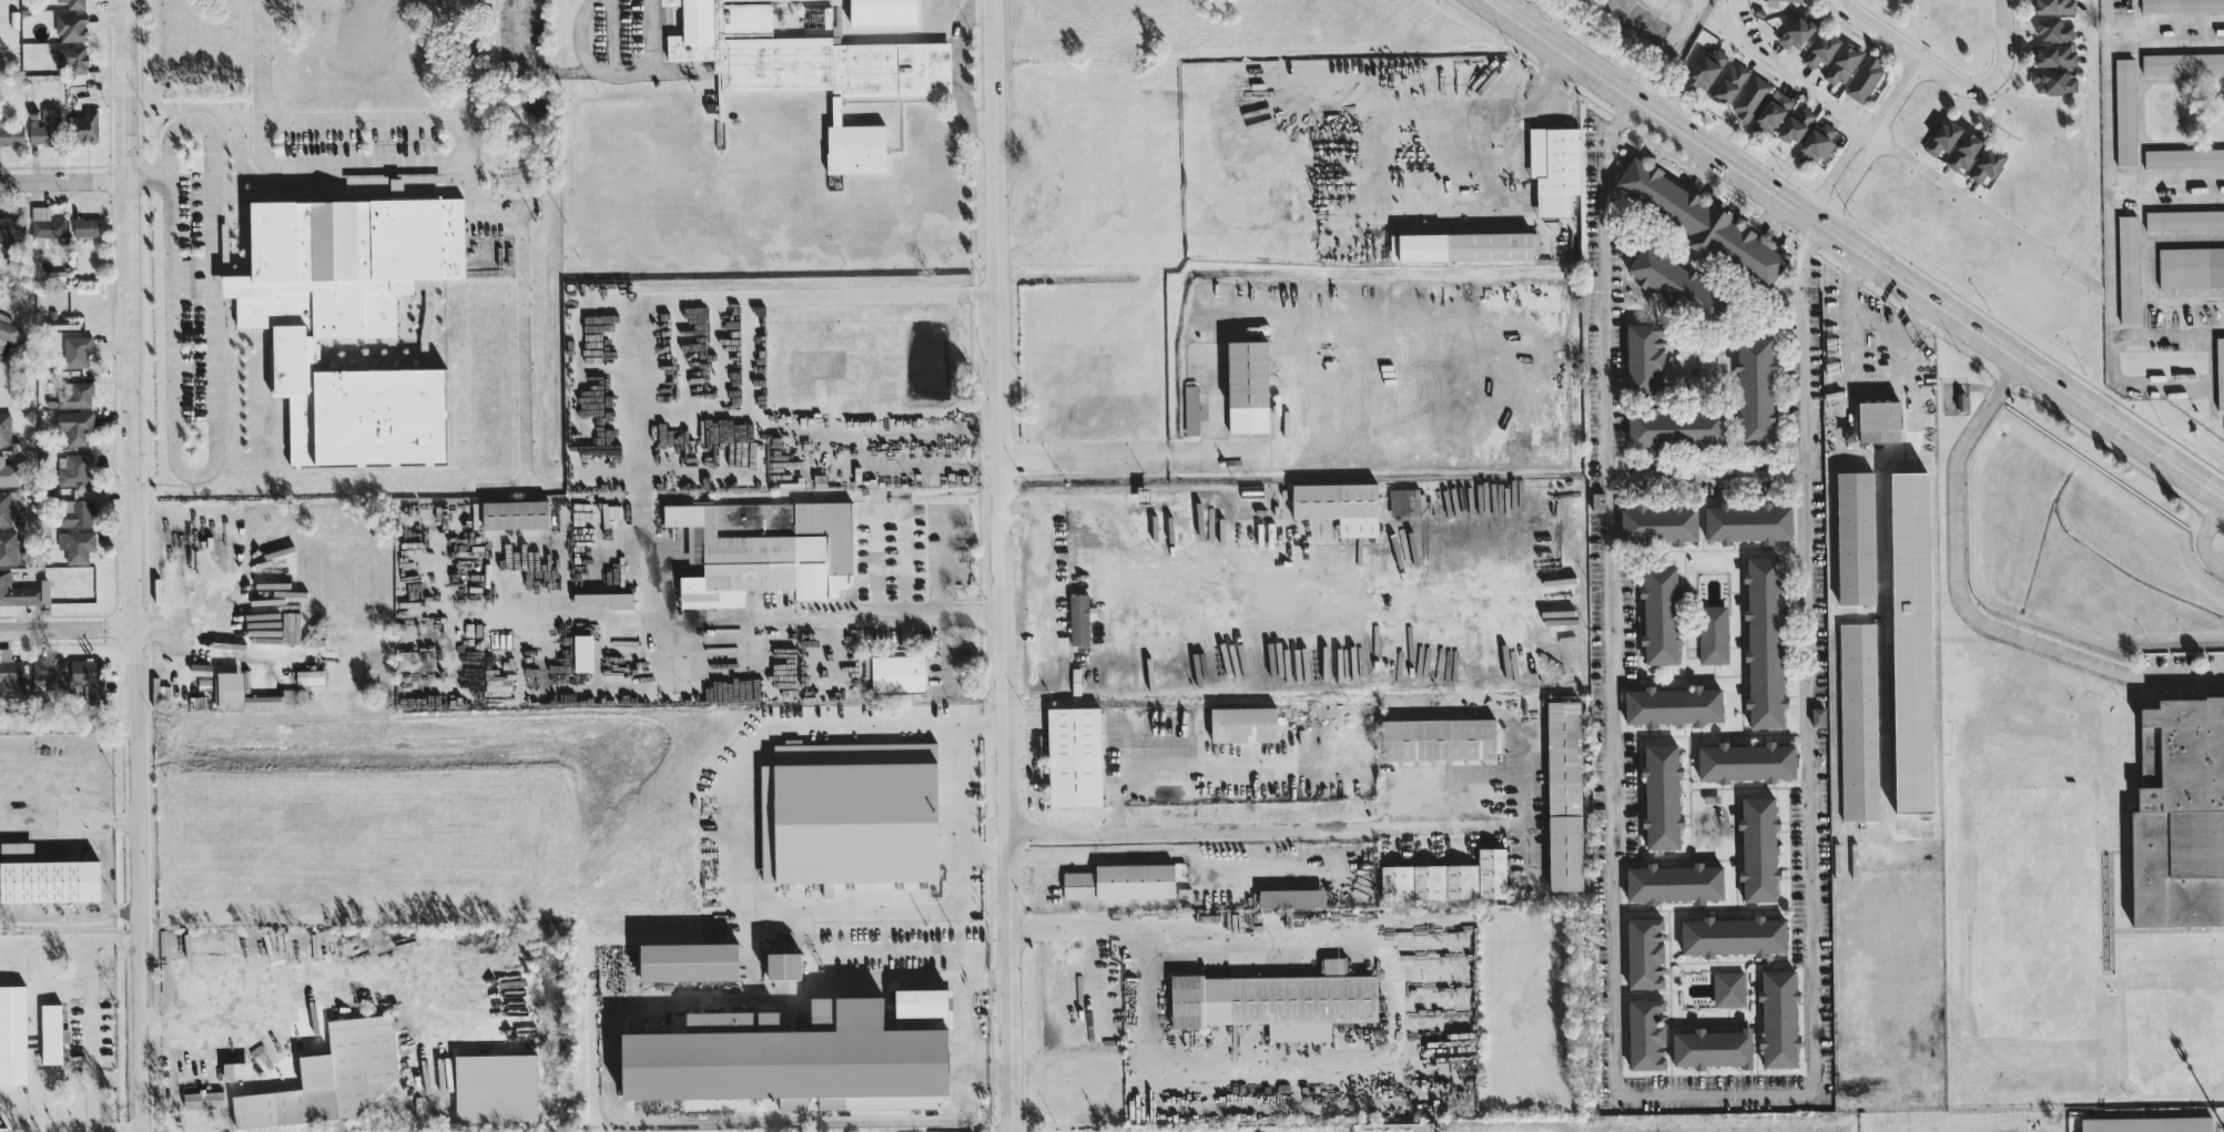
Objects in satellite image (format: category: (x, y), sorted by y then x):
building: (74, 3)
building: (2181, 4)
building: (2053, 6)
road: (1527, 11)
building: (882, 12)
park: (1905, 14)
road: (2165, 16)
building: (70, 26)
building: (2052, 29)
building: (1796, 30)
road: (2003, 42)
building: (1820, 49)
road: (1665, 51)
building: (2054, 54)
road: (1911, 55)
building: (71, 58)
building: (2183, 62)
building: (1842, 63)
road: (526, 65)
building: (810, 68)
building: (1707, 68)
road: (1554, 70)
road: (617, 77)
building: (1865, 77)
building: (2054, 80)
building: (1729, 82)
road: (257, 89)
building: (1750, 96)
building: (1771, 111)
building: (2125, 111)
building: (1795, 124)
building: (82, 125)
building: (44, 126)
road: (465, 130)
building: (11, 134)
building: (1942, 136)
road: (2095, 139)
road: (1867, 142)
road: (1883, 142)
building: (1816, 143)
building: (1964, 151)
building: (2184, 157)
building: (1987, 163)
building: (1554, 167)
road: (145, 177)
road: (63, 179)
road: (2109, 191)
building: (2184, 218)
building: (1702, 221)
building: (44, 226)
building: (85, 226)
building: (11, 227)
road: (1855, 248)
road: (1341, 253)
road: (214, 262)
building: (2191, 266)
building: (2129, 268)
road: (2083, 278)
building: (1676, 282)
road: (1912, 313)
road: (522, 319)
building: (348, 322)
building: (7, 330)
road: (166, 332)
road: (1210, 338)
building: (75, 350)
building: (1645, 358)
building: (2220, 371)
park: (682, 375)
building: (1247, 386)
road: (2159, 386)
building: (1756, 390)
road: (1842, 391)
building: (74, 394)
building: (1190, 409)
building: (1879, 420)
road: (944, 422)
building: (74, 426)
building: (1674, 426)
building: (4, 428)
road: (1454, 429)
building: (73, 469)
road: (978, 472)
building: (8, 473)
road: (1710, 478)
road: (541, 486)
building: (12, 501)
building: (1408, 501)
building: (1340, 506)
road: (890, 507)
building: (3, 508)
building: (77, 508)
building: (515, 513)
building: (1748, 522)
building: (1658, 523)
building: (1856, 538)
road: (2204, 539)
building: (75, 545)
building: (764, 549)
road: (1050, 564)
road: (132, 565)
road: (1004, 565)
building: (43, 590)
building: (16, 591)
road: (1200, 593)
road: (946, 600)
road: (1967, 609)
road: (587, 613)
building: (1661, 615)
road: (900, 616)
building: (1078, 619)
road: (67, 628)
building: (1713, 634)
building: (1765, 642)
building: (1911, 642)
road: (207, 650)
building: (582, 653)
road: (833, 656)
building: (50, 672)
building: (895, 673)
building: (9, 674)
building: (84, 675)
building: (308, 676)
building: (229, 689)
building: (1673, 706)
building: (1818, 716)
building: (1859, 722)
building: (1242, 724)
road: (1147, 734)
building: (1438, 740)
road: (1937, 751)
building: (1074, 756)
building: (1746, 762)
road: (1439, 777)
road: (955, 794)
building: (1564, 795)
building: (1662, 796)
road: (74, 799)
road: (1533, 800)
building: (849, 814)
building: (2180, 815)
road: (110, 823)
road: (1269, 836)
building: (1758, 848)
road: (737, 856)
building: (44, 877)
building: (1448, 879)
road: (104, 880)
building: (1675, 884)
building: (1291, 898)
road: (1440, 927)
road: (1081, 935)
building: (1734, 936)
road: (68, 946)
building: (1645, 952)
building: (688, 959)
building: (782, 962)
road: (811, 973)
building: (1728, 988)
building: (920, 1000)
building: (1277, 1000)
building: (1779, 1018)
building: (51, 1032)
building: (1646, 1032)
road: (176, 1033)
road: (95, 1038)
building: (1713, 1047)
building: (791, 1058)
building: (331, 1075)
building: (495, 1087)
road: (1651, 1093)
building: (203, 1099)
road: (687, 1116)
building: (2147, 1123)
road: (43, 1126)
building: (800, 1131)
building: (953, 1131)

